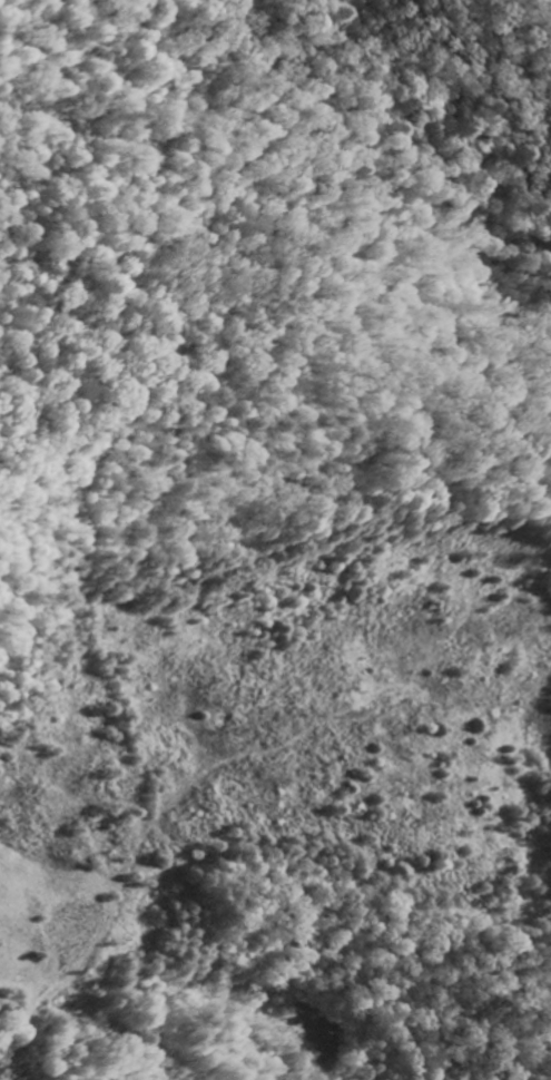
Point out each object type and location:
road: (264, 392)

